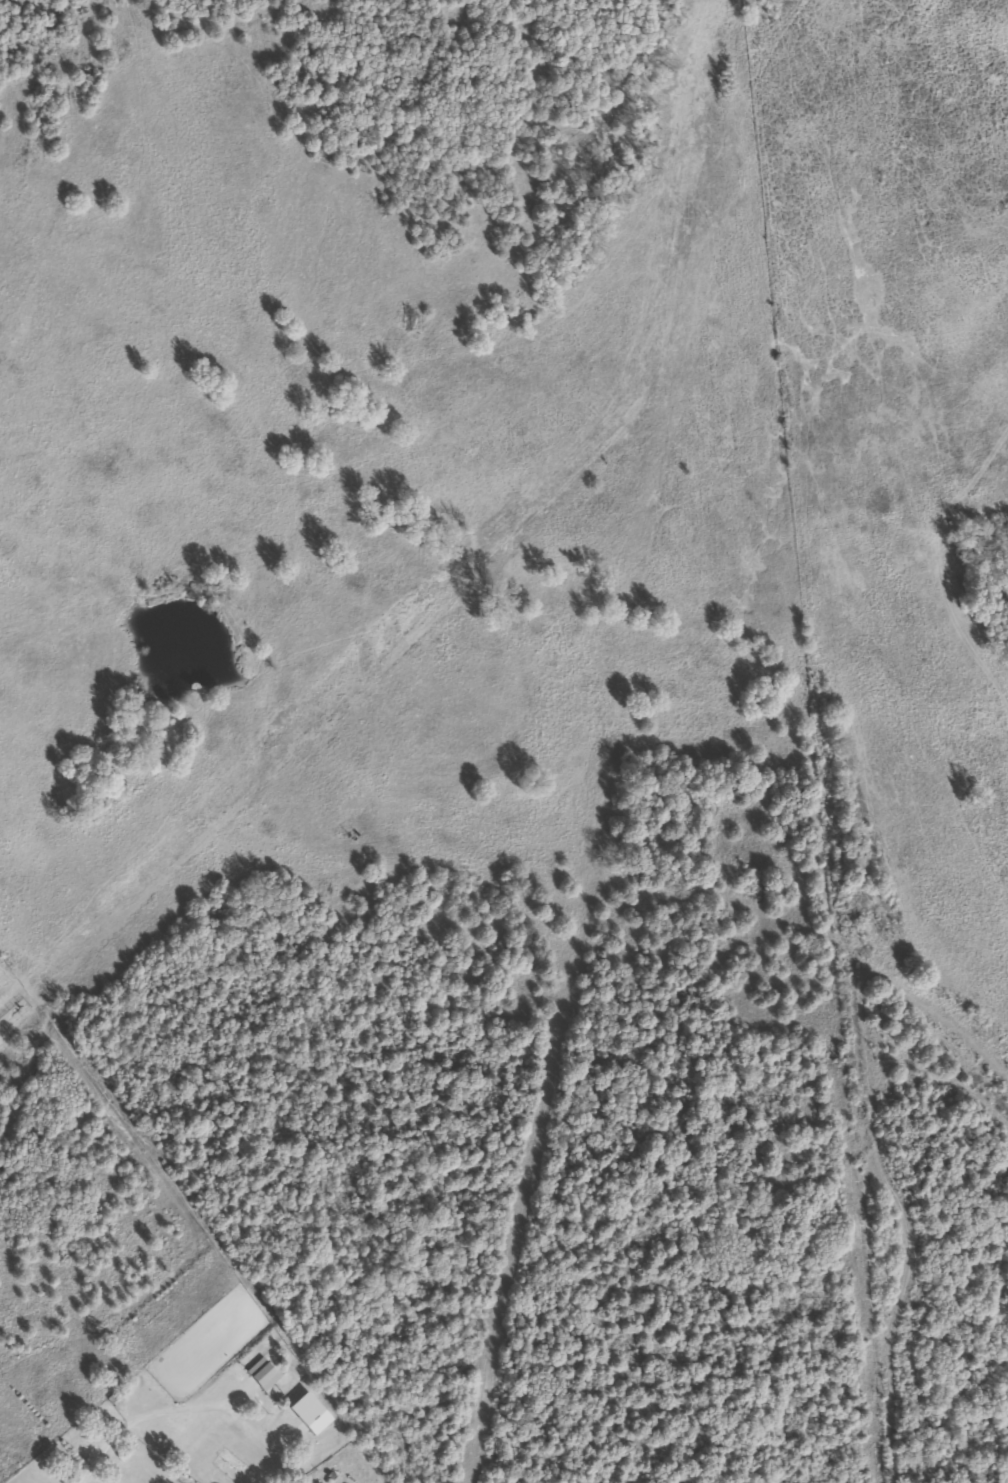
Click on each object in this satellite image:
building: (261, 1383)
road: (193, 1472)

